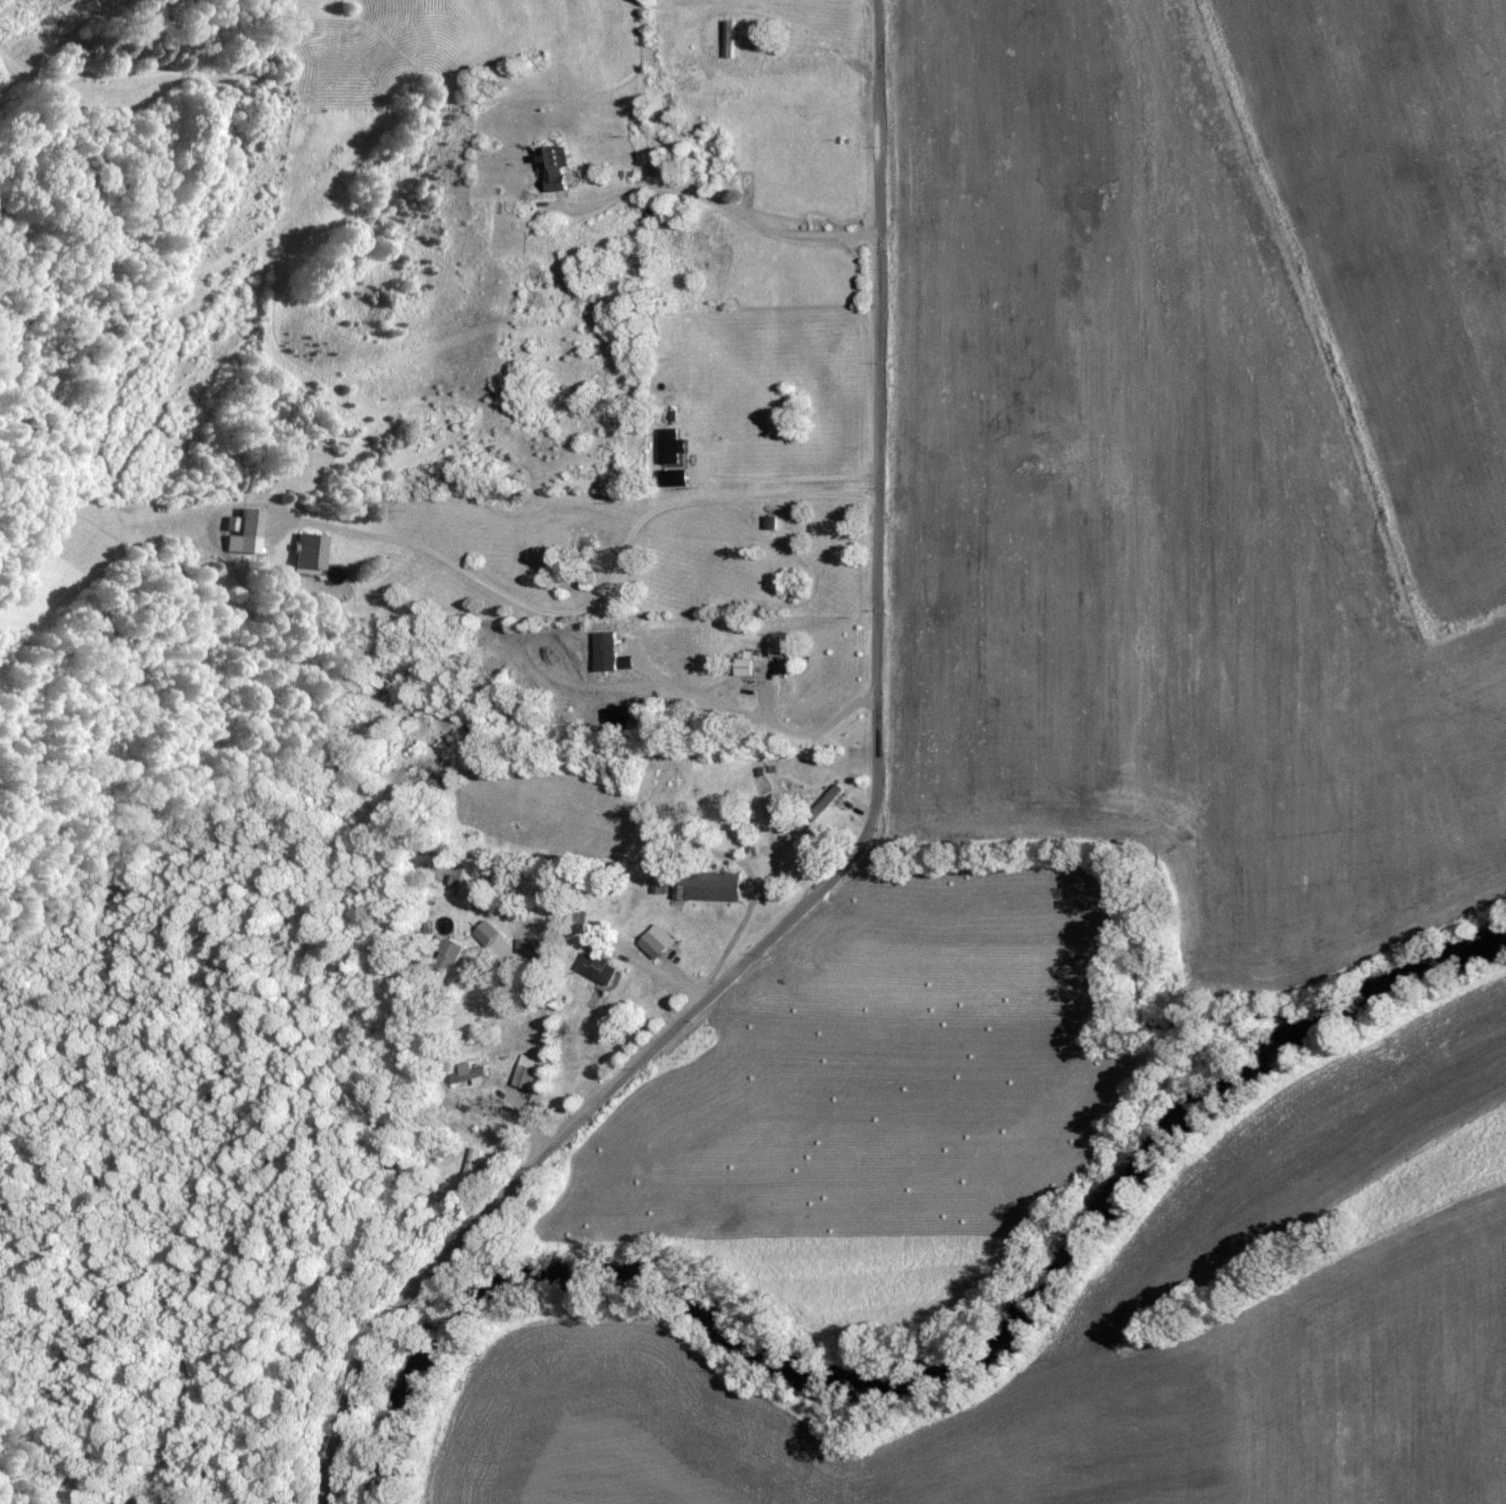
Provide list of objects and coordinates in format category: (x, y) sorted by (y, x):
building: (730, 37)
building: (558, 161)
road: (722, 202)
building: (658, 213)
building: (672, 447)
road: (785, 476)
building: (253, 522)
building: (313, 549)
road: (596, 599)
building: (784, 653)
building: (743, 666)
road: (767, 721)
building: (660, 779)
building: (832, 795)
road: (858, 852)
building: (707, 887)
building: (488, 934)
building: (660, 941)
building: (599, 967)
building: (479, 1074)
building: (528, 1076)
river: (934, 1379)

